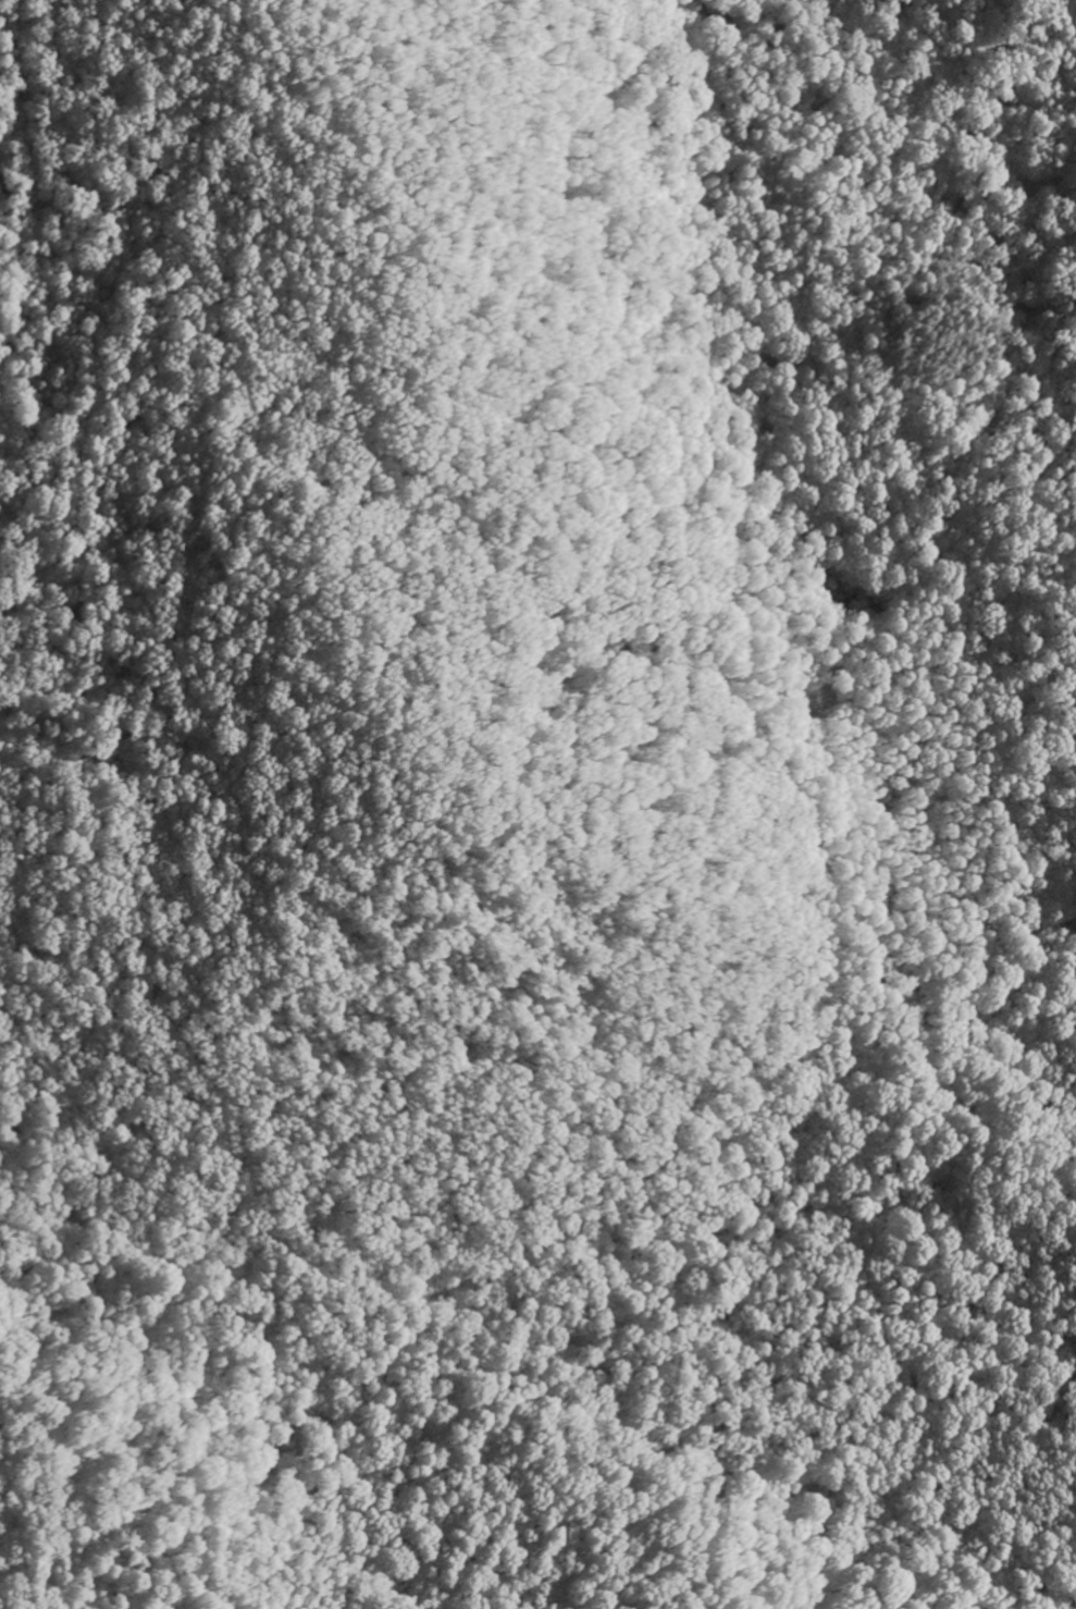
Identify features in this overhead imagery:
road: (21, 101)
road: (1072, 640)
road: (599, 1236)

